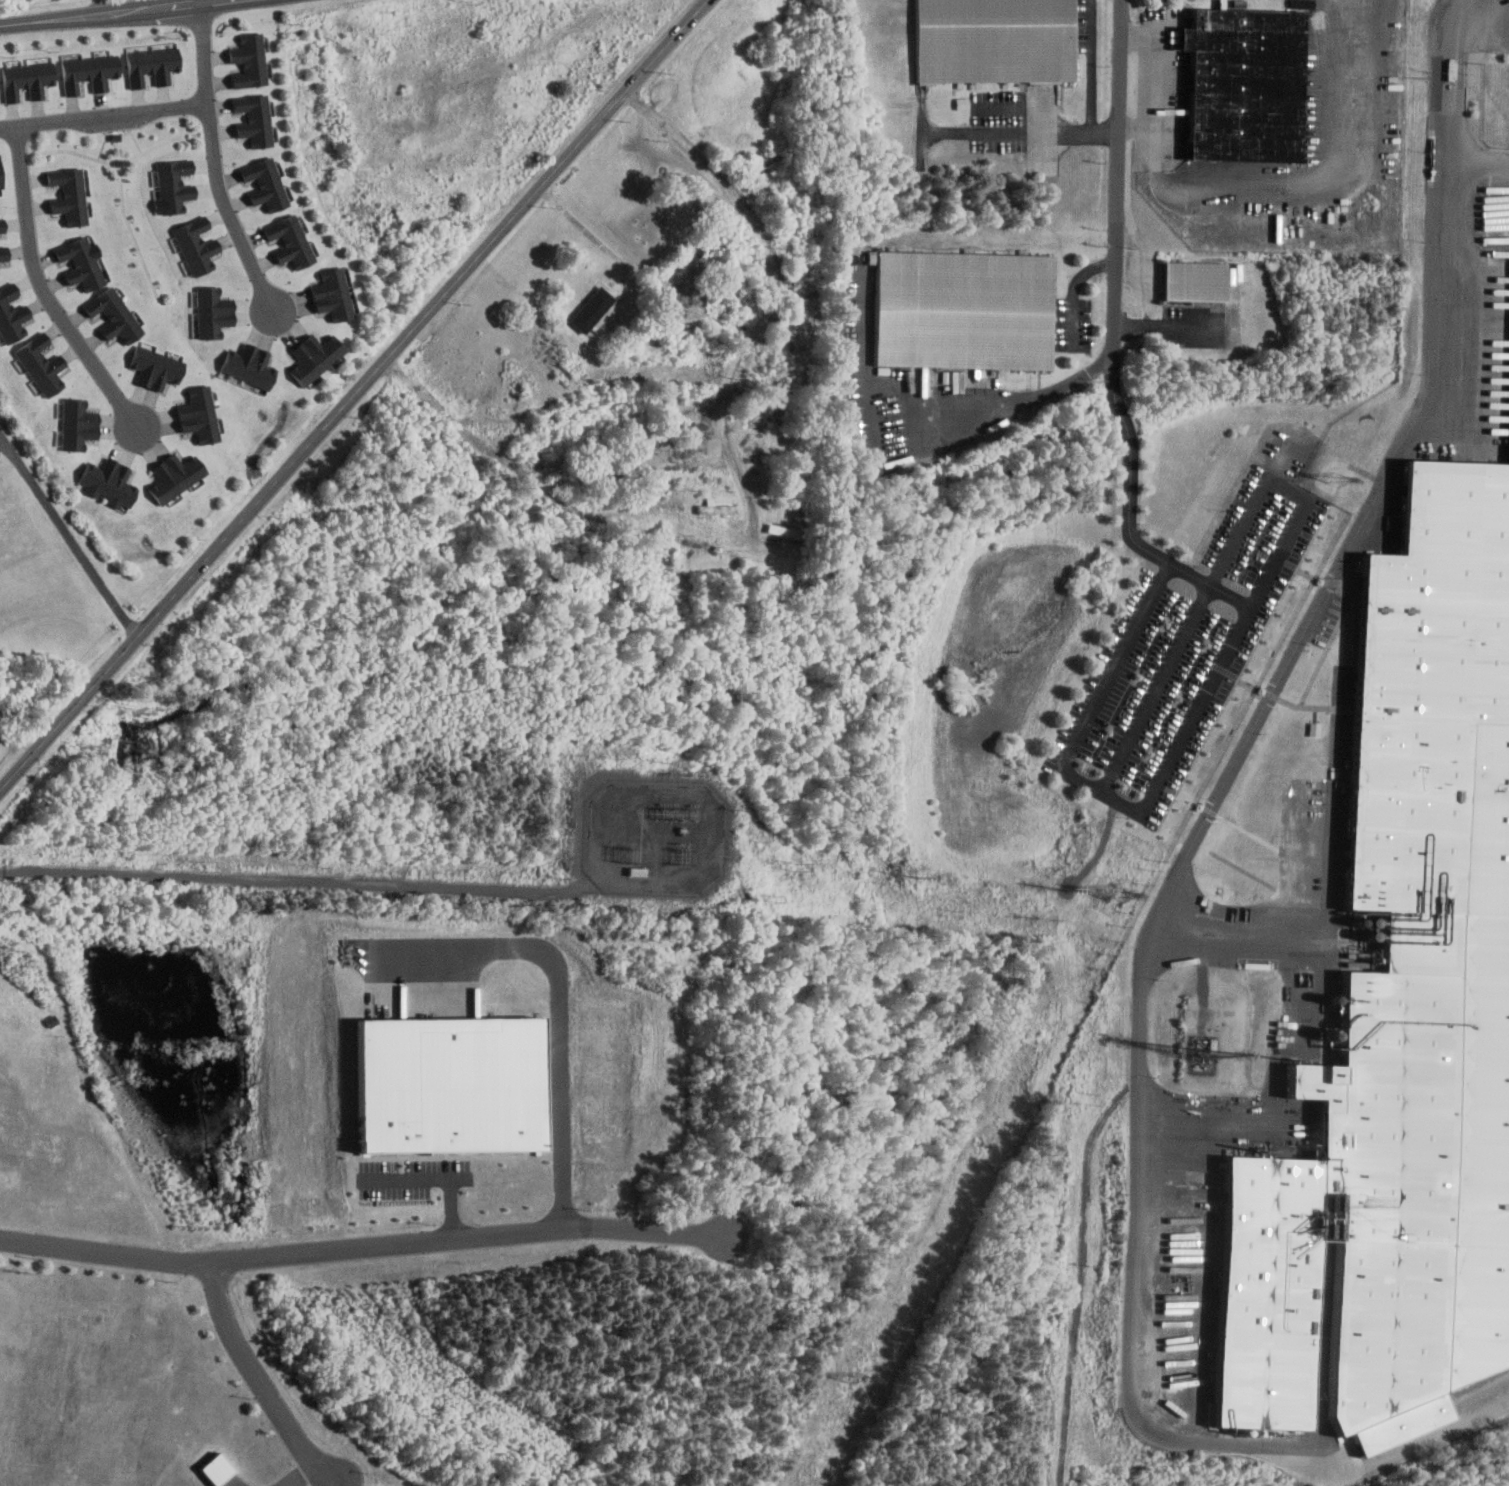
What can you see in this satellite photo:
road: (204, 2)
road: (118, 14)
building: (992, 40)
building: (251, 59)
building: (152, 66)
road: (1092, 71)
building: (90, 72)
road: (1454, 78)
building: (27, 79)
road: (1159, 82)
building: (1244, 83)
building: (961, 102)
road: (103, 116)
building: (256, 120)
road: (1022, 131)
road: (132, 133)
road: (106, 136)
road: (1477, 158)
road: (117, 161)
road: (216, 166)
building: (0, 178)
building: (267, 182)
building: (175, 185)
building: (69, 194)
building: (2, 224)
road: (131, 231)
road: (591, 232)
building: (291, 242)
building: (197, 246)
building: (4, 254)
building: (80, 264)
building: (1195, 281)
road: (44, 289)
road: (1075, 290)
building: (334, 294)
building: (962, 310)
building: (590, 311)
building: (216, 312)
building: (12, 315)
building: (112, 315)
road: (1163, 324)
road: (1114, 341)
building: (317, 357)
building: (41, 365)
building: (252, 366)
building: (154, 368)
road: (354, 395)
building: (200, 416)
building: (78, 425)
road: (917, 445)
building: (176, 475)
building: (109, 484)
road: (745, 486)
building: (713, 506)
road: (1242, 512)
road: (68, 534)
road: (1269, 578)
parking lot: (1164, 683)
road: (1157, 688)
road: (1236, 766)
road: (1103, 792)
power substation: (655, 836)
road: (292, 879)
road: (1333, 897)
road: (560, 1004)
building: (1397, 1012)
building: (444, 1083)
road: (440, 1178)
road: (362, 1246)
road: (1080, 1273)
road: (260, 1379)
road: (1317, 1459)
building: (214, 1469)
road: (1320, 1472)
road: (294, 1473)

